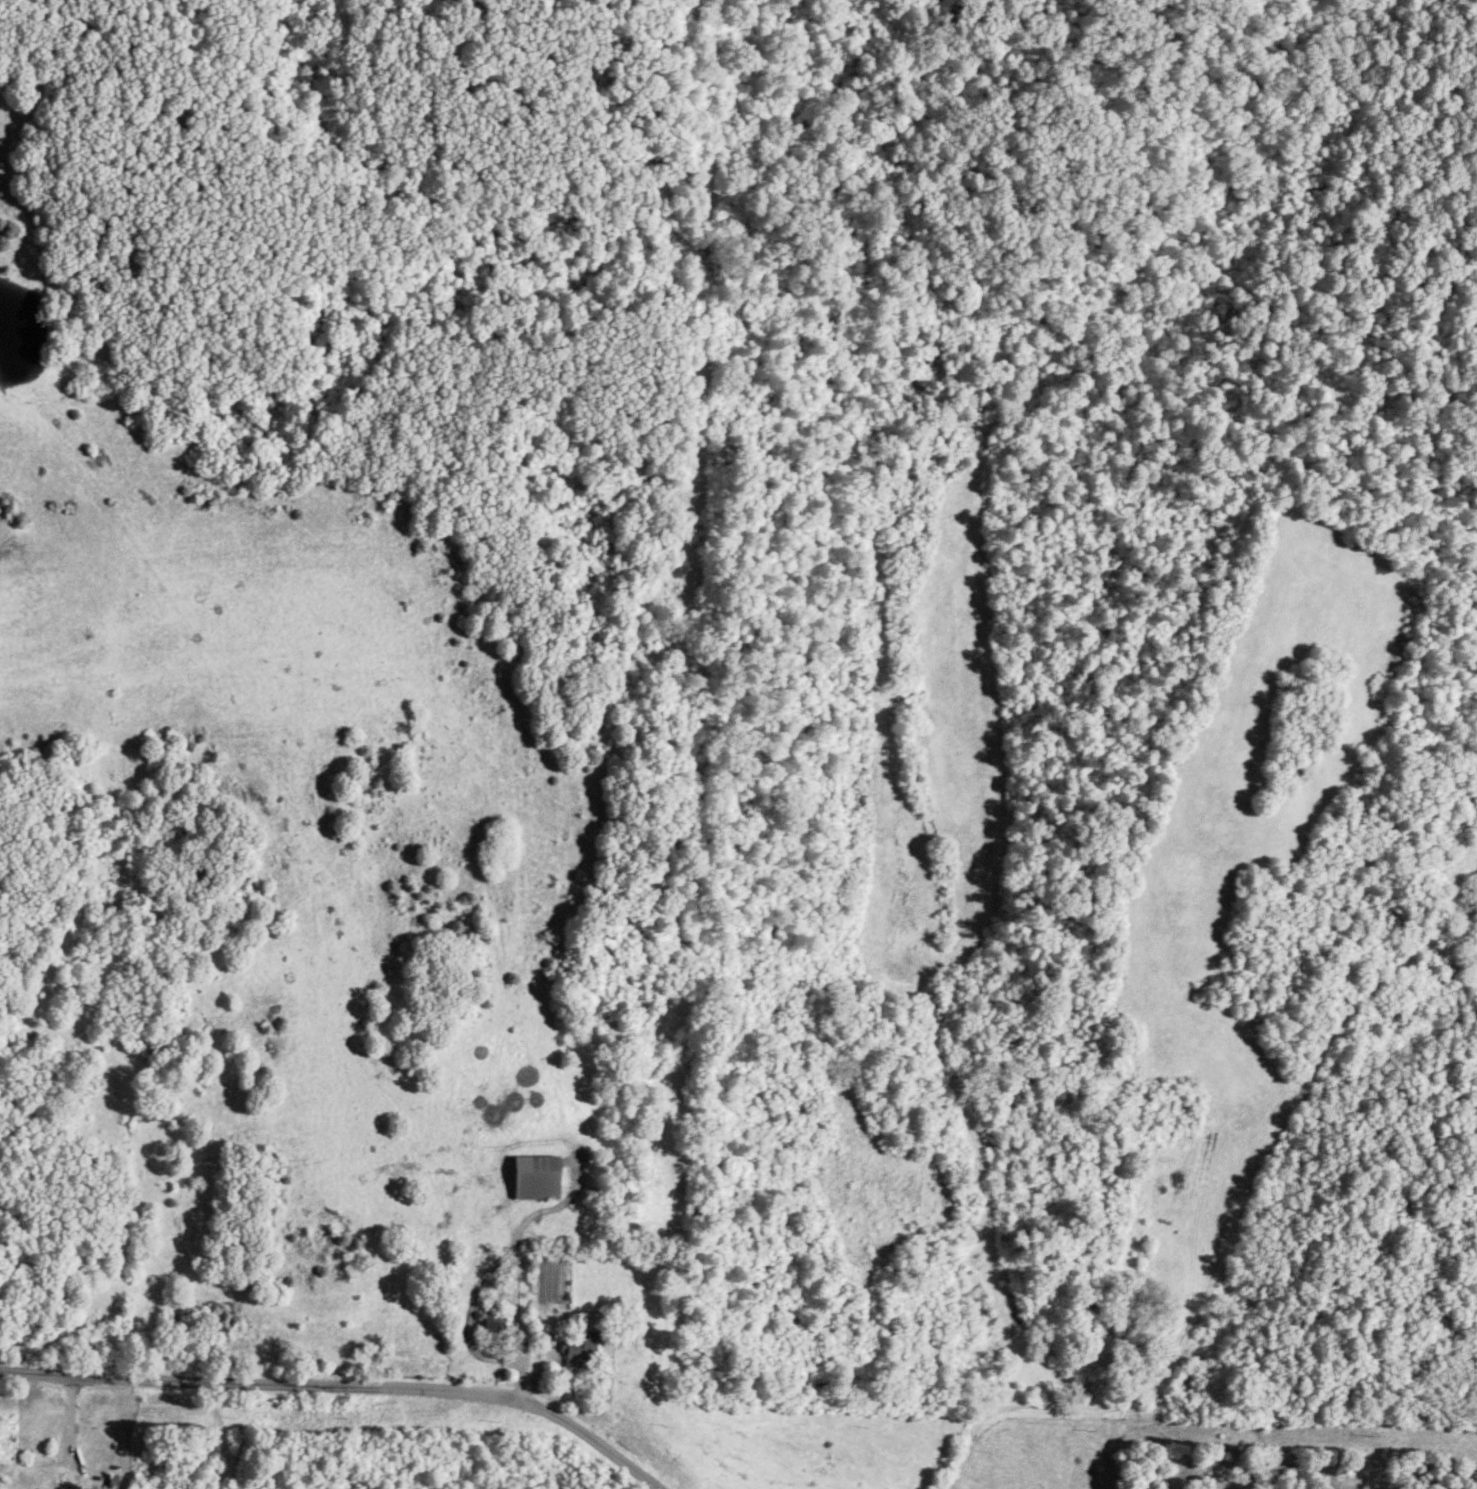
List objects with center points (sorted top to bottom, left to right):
building: (534, 1179)
building: (581, 1350)
road: (336, 1389)
road: (997, 1409)
building: (112, 1482)

